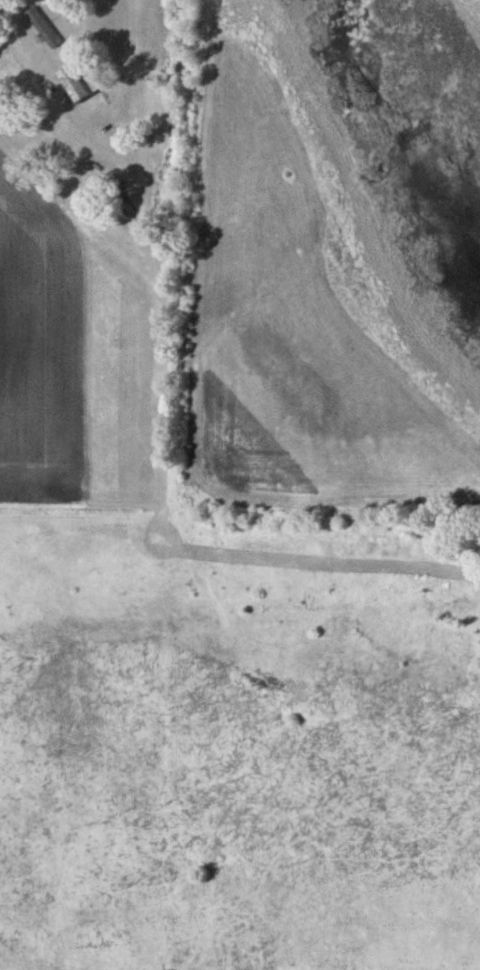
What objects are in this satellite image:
building: (42, 27)
building: (71, 84)

